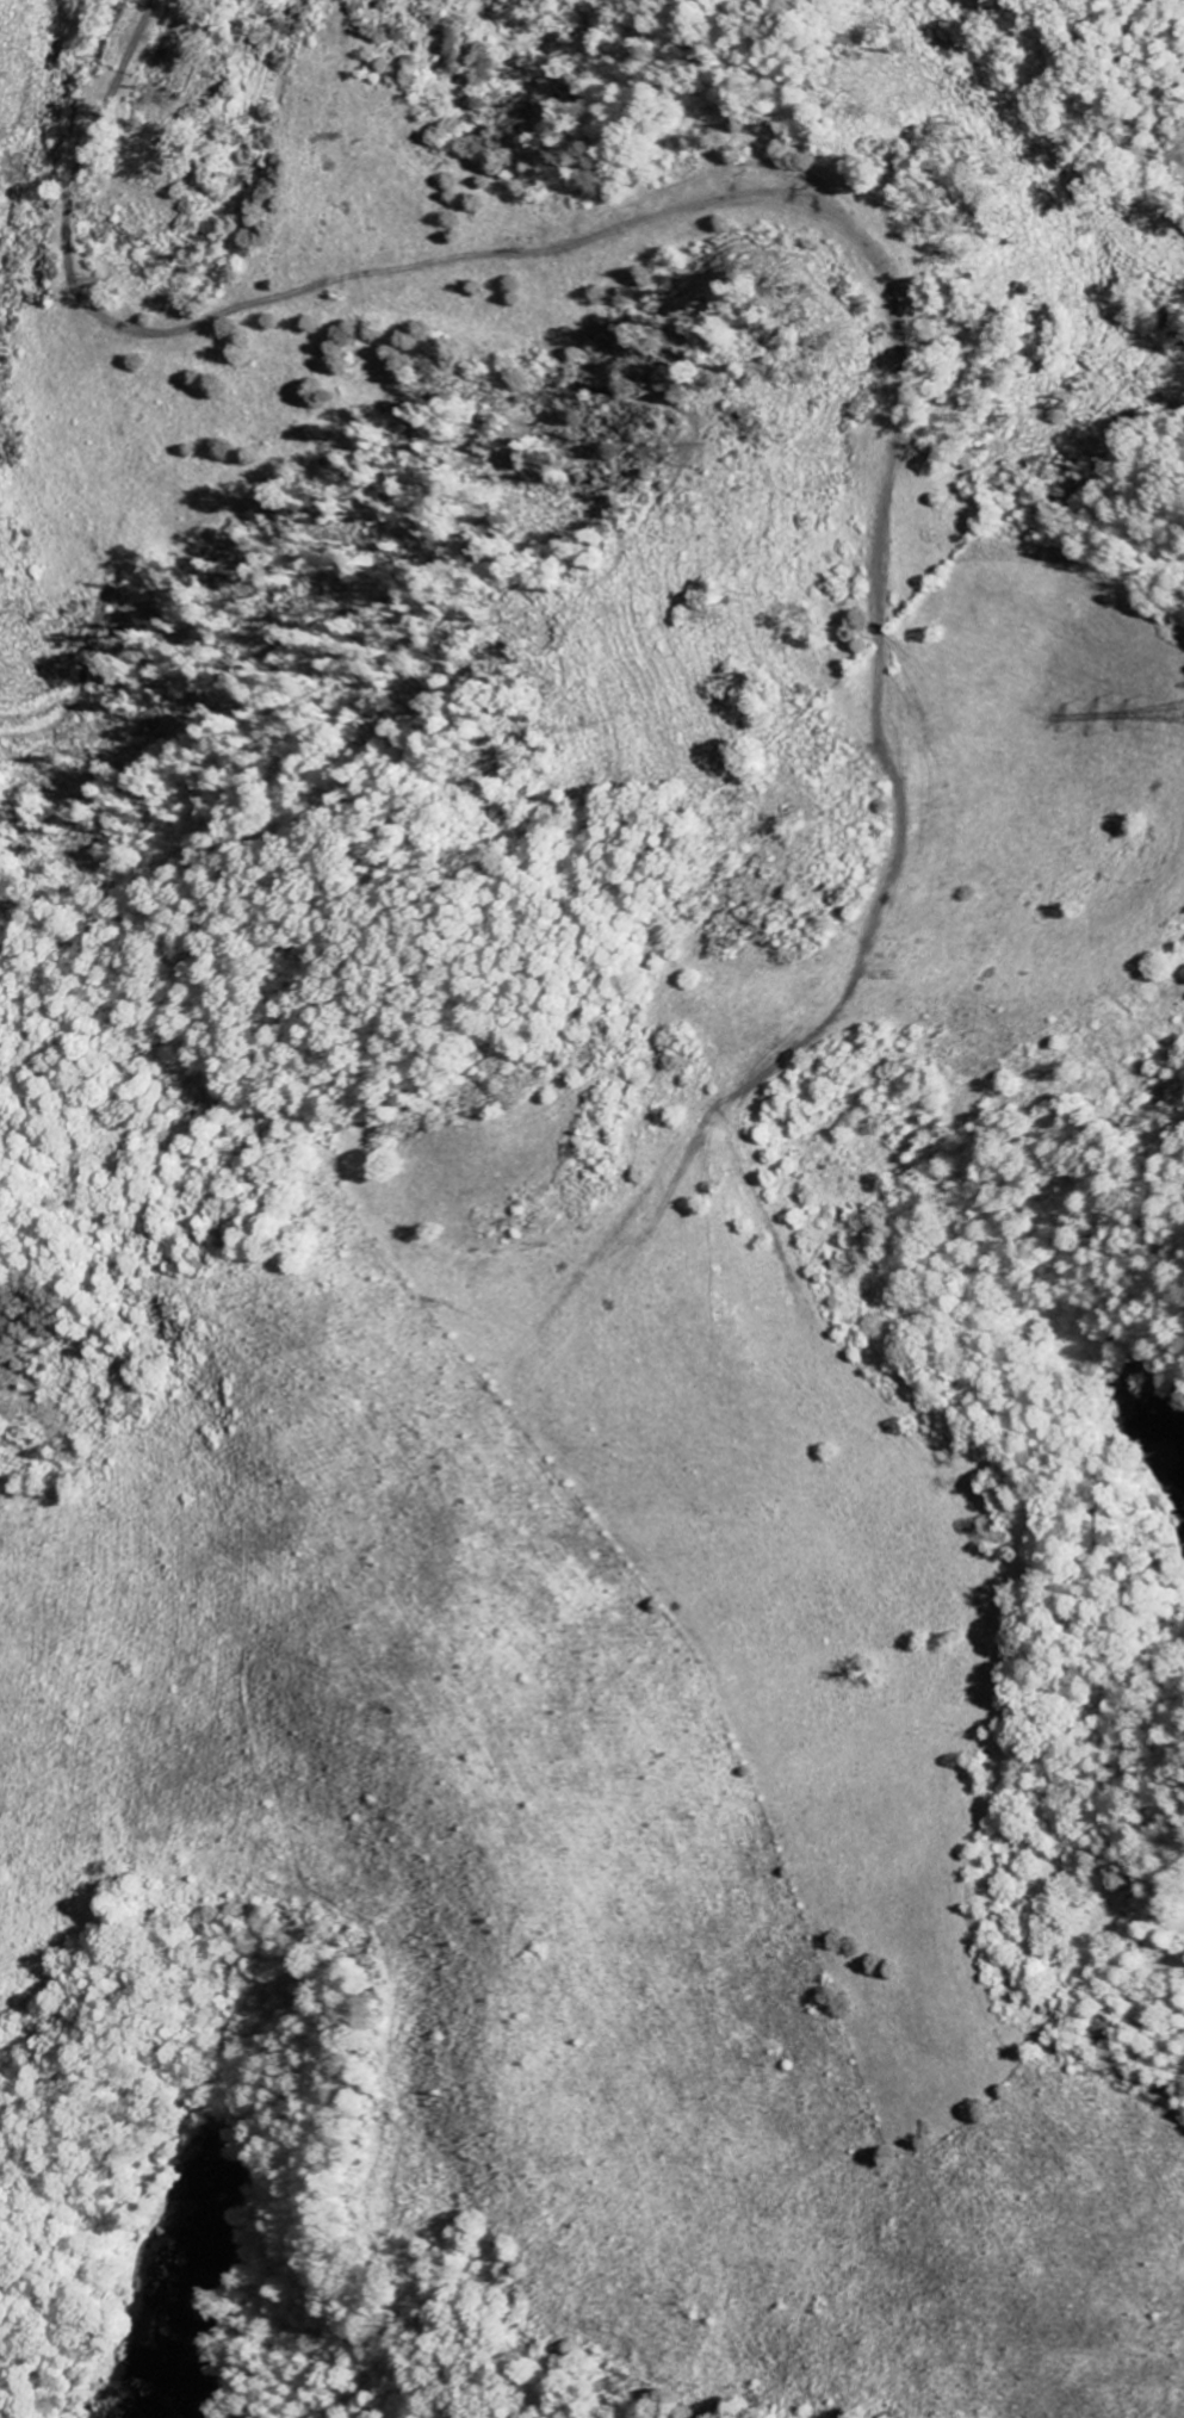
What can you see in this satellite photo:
power tower: (696, 457)

